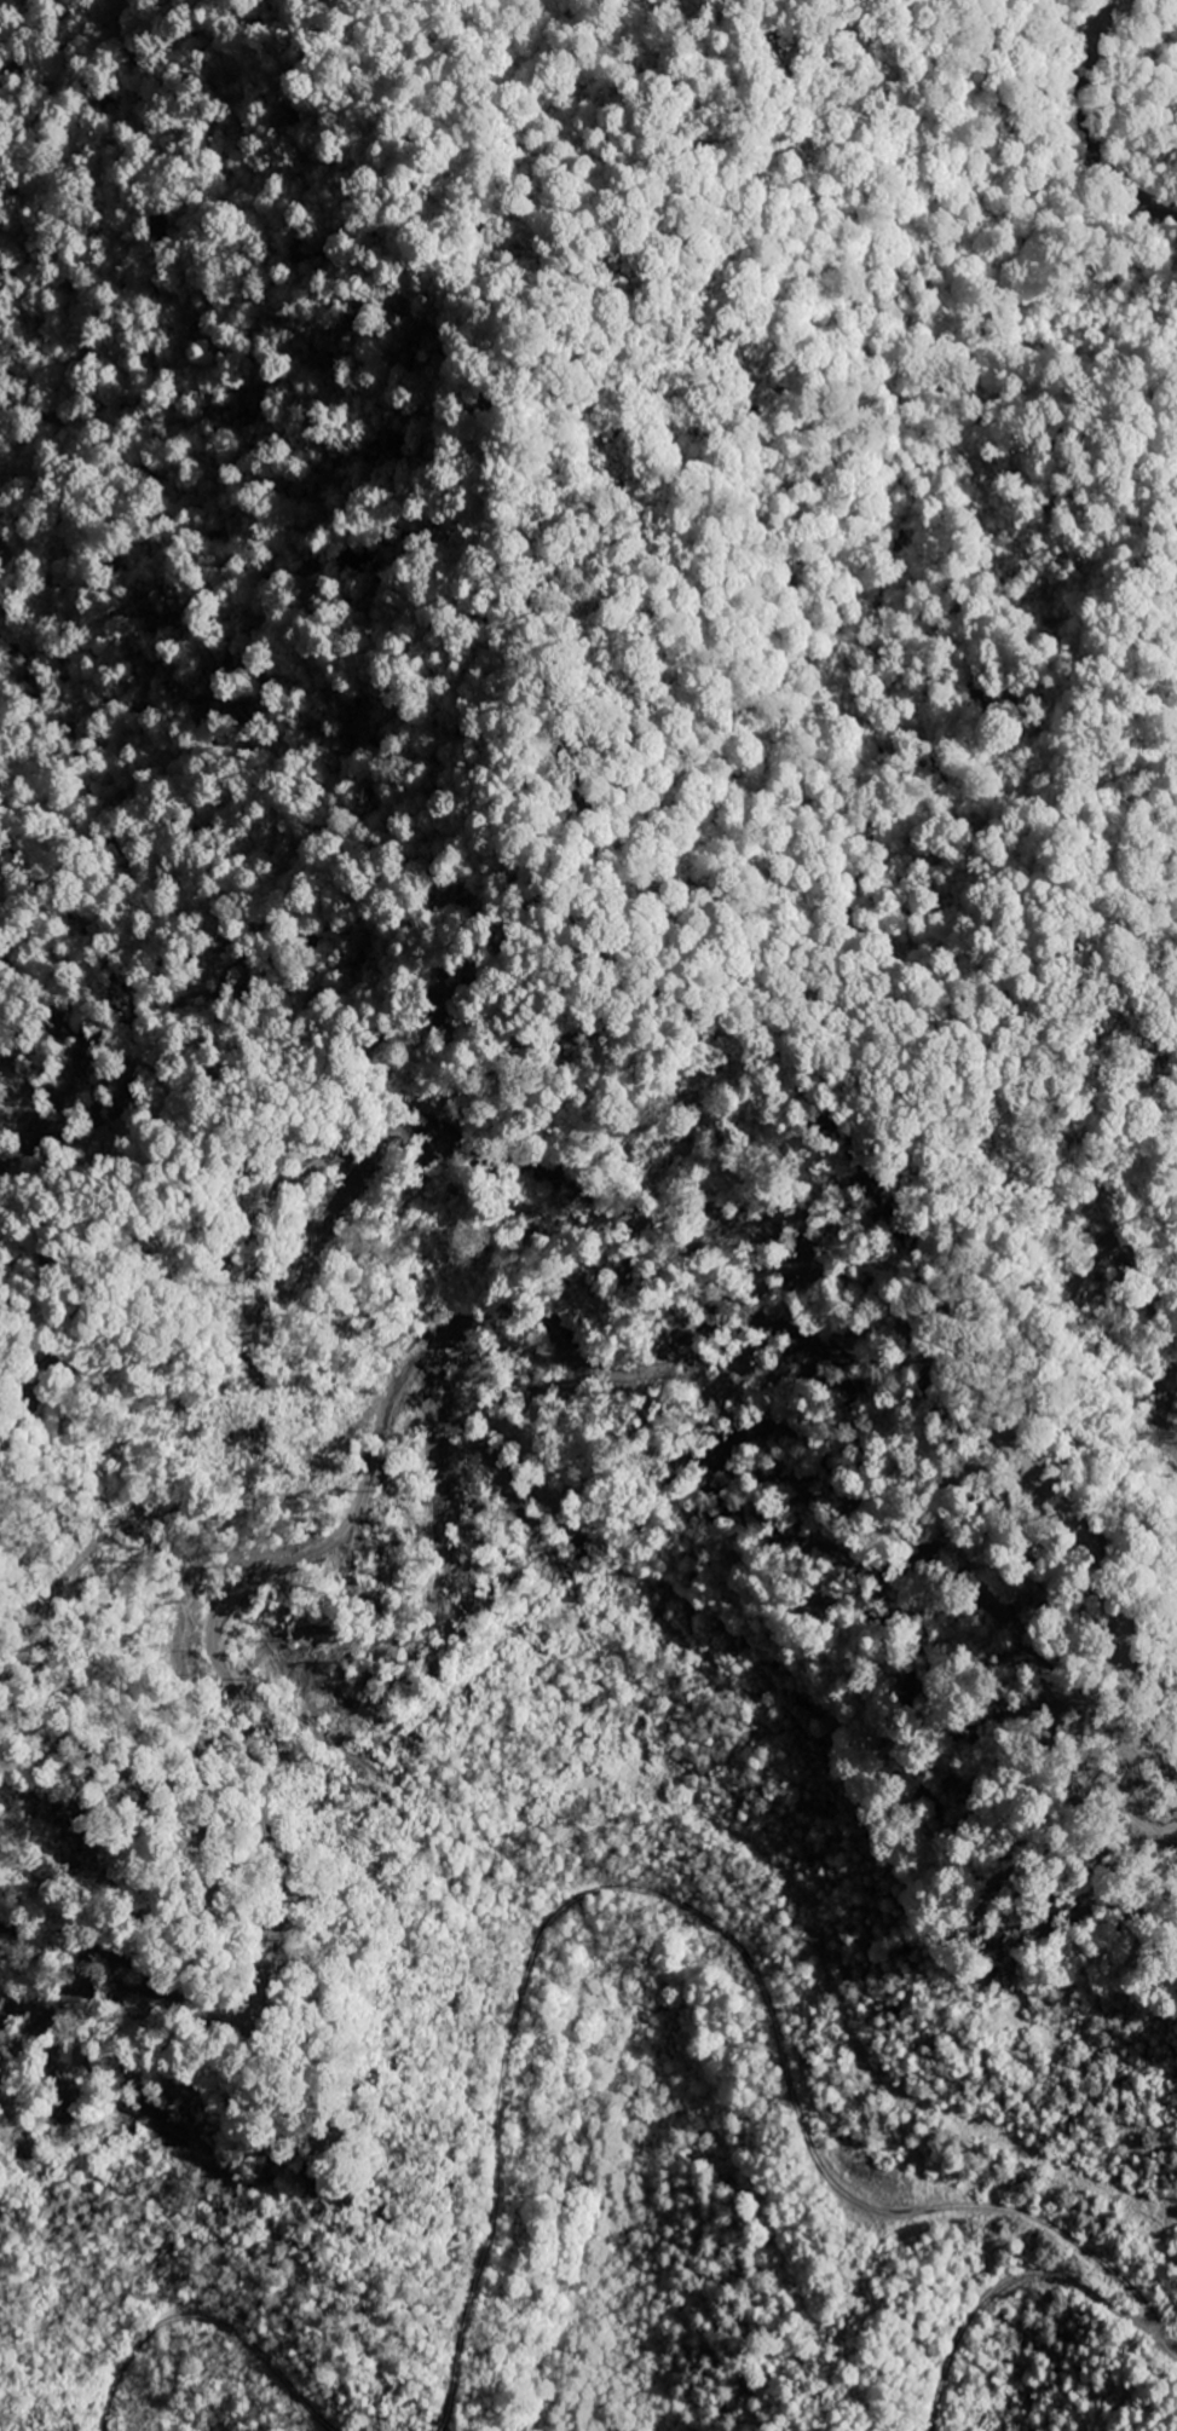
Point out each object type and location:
road: (1097, 125)
road: (710, 1921)
road: (1017, 2275)
road: (202, 2321)
road: (185, 2377)

